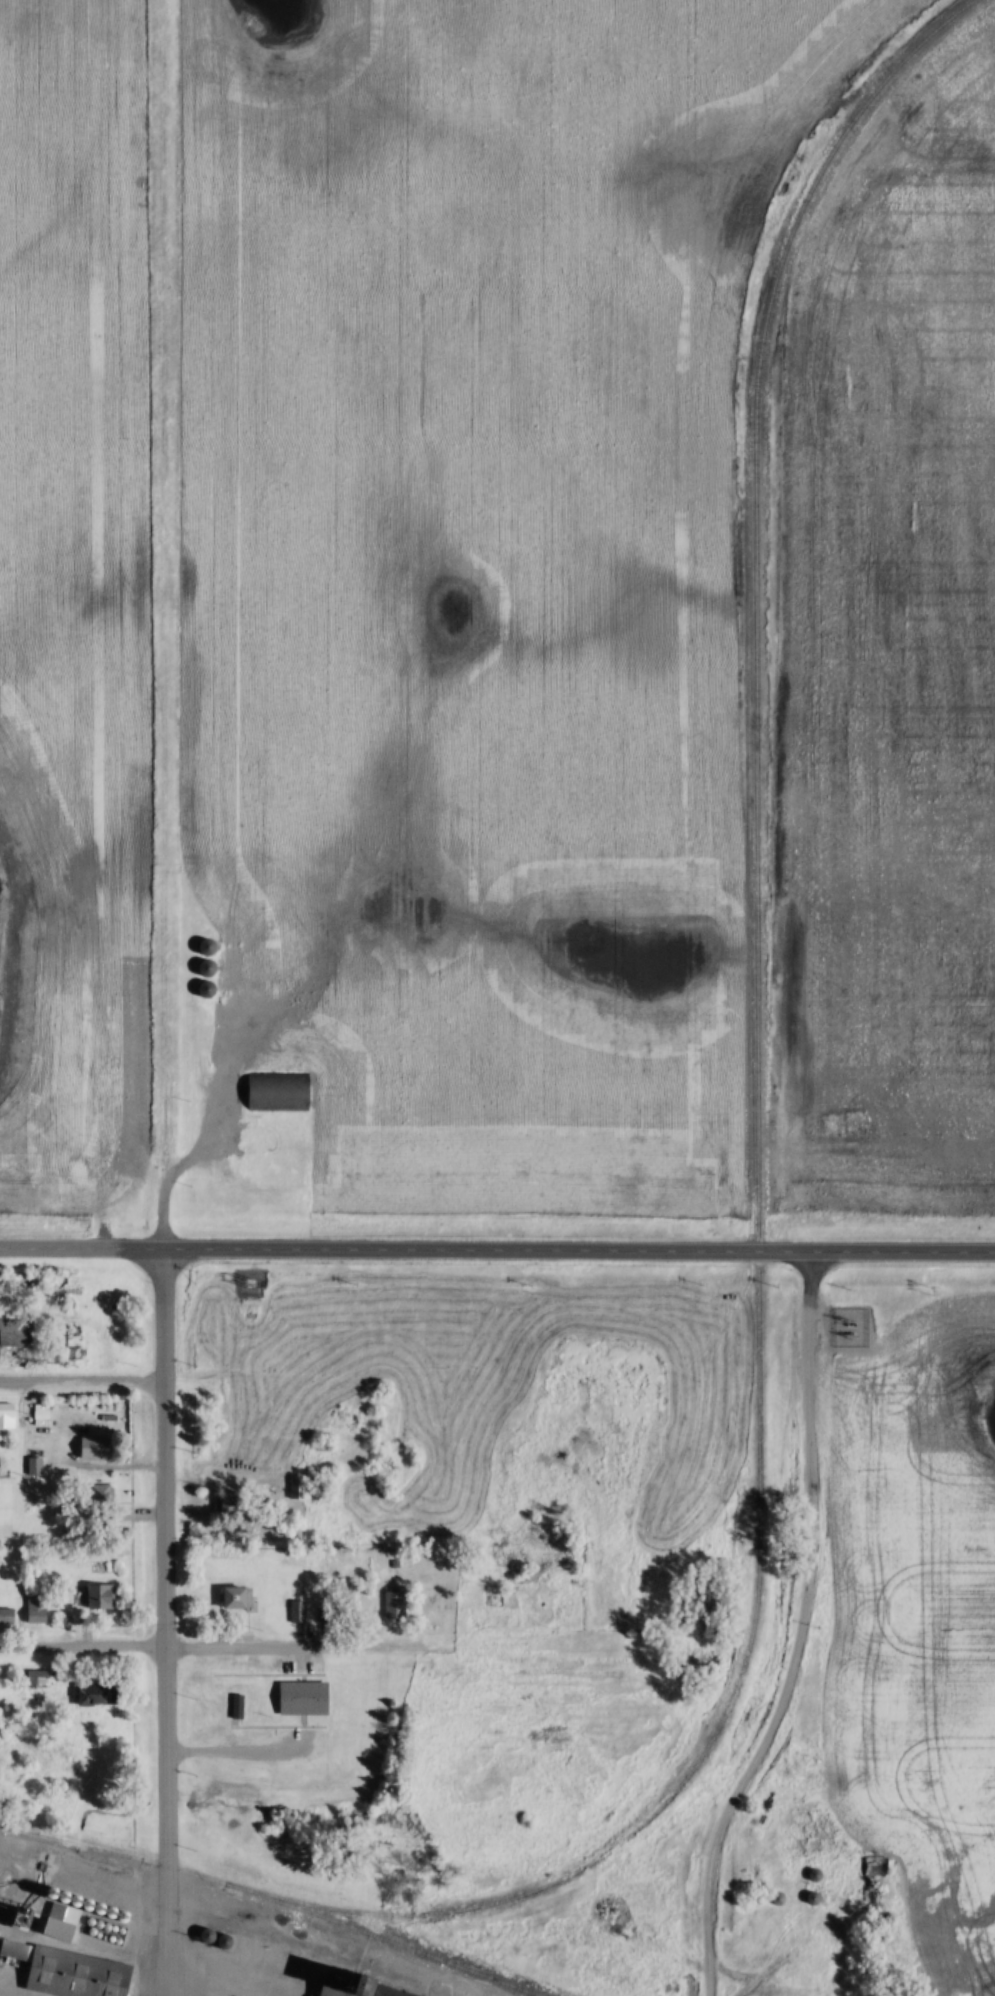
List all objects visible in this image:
building: (210, 948)
building: (210, 968)
building: (210, 991)
building: (279, 1093)
railway: (756, 1230)
road: (497, 1252)
power substation: (851, 1324)
building: (18, 1333)
road: (82, 1381)
building: (8, 1417)
building: (97, 1449)
building: (36, 1467)
building: (298, 1489)
building: (104, 1496)
building: (237, 1505)
building: (103, 1598)
building: (240, 1599)
building: (37, 1611)
building: (298, 1613)
building: (326, 1614)
building: (8, 1617)
crop: (919, 1619)
road: (169, 1623)
road: (796, 1632)
road: (206, 1651)
building: (41, 1679)
building: (100, 1695)
building: (305, 1699)
building: (875, 1872)
building: (818, 1876)
building: (779, 1899)
building: (815, 1899)
building: (63, 1909)
railway: (217, 1924)
railway: (382, 1940)
building: (77, 1973)
building: (339, 1992)

